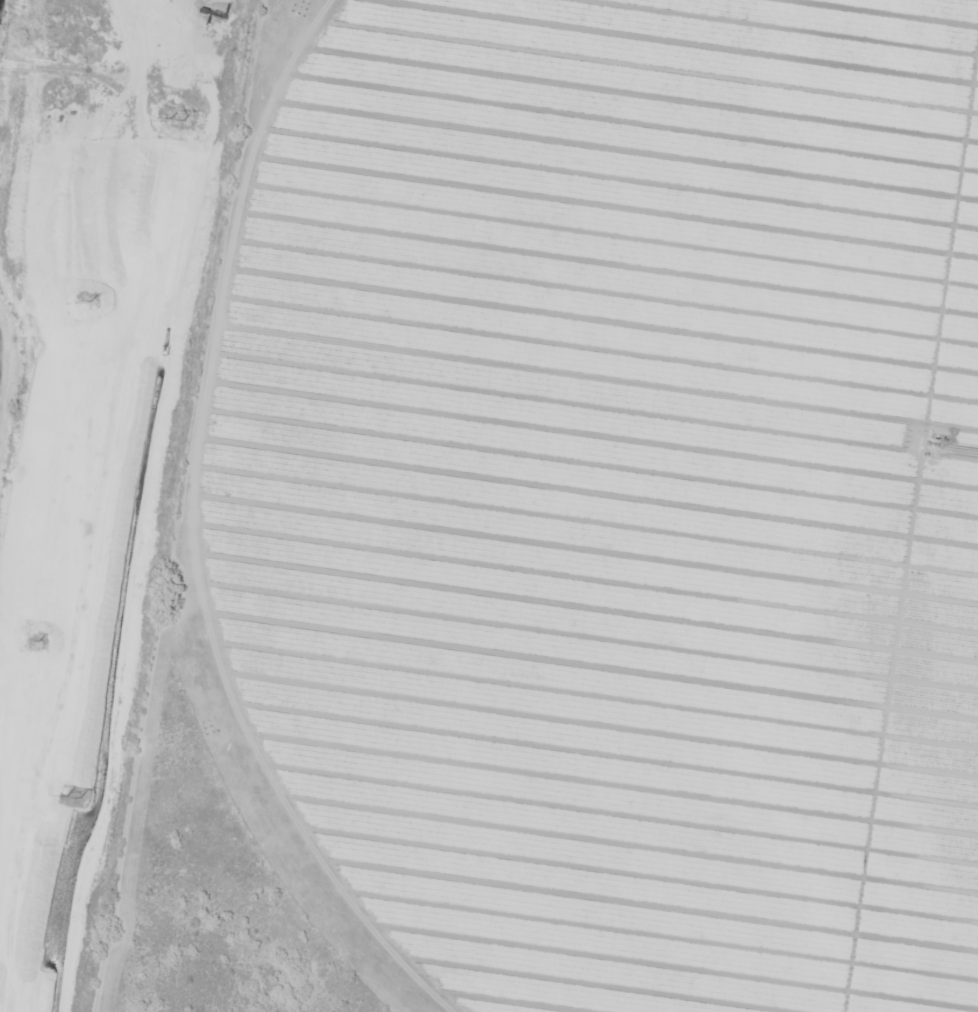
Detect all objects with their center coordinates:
power tower: (176, 120)
road: (162, 506)
power tower: (72, 796)

